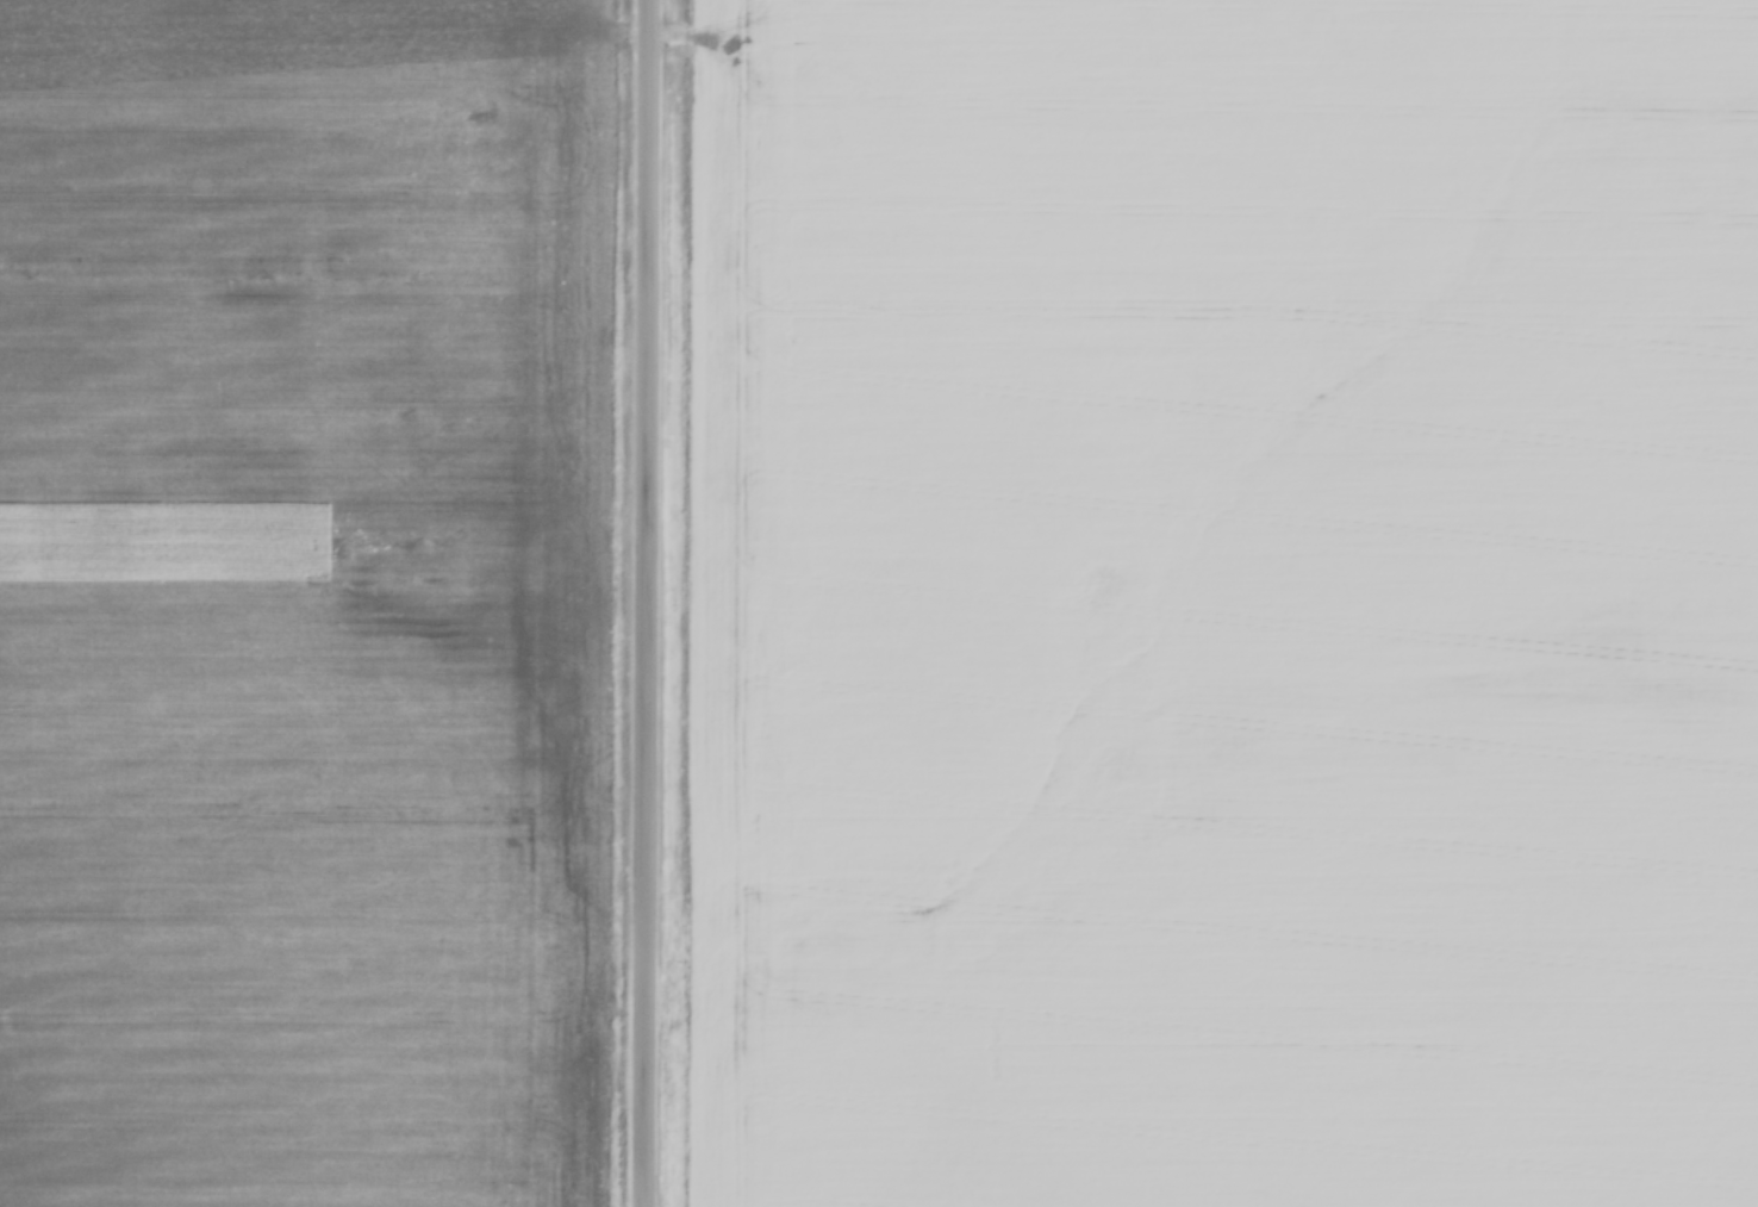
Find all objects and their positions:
road: (652, 603)

